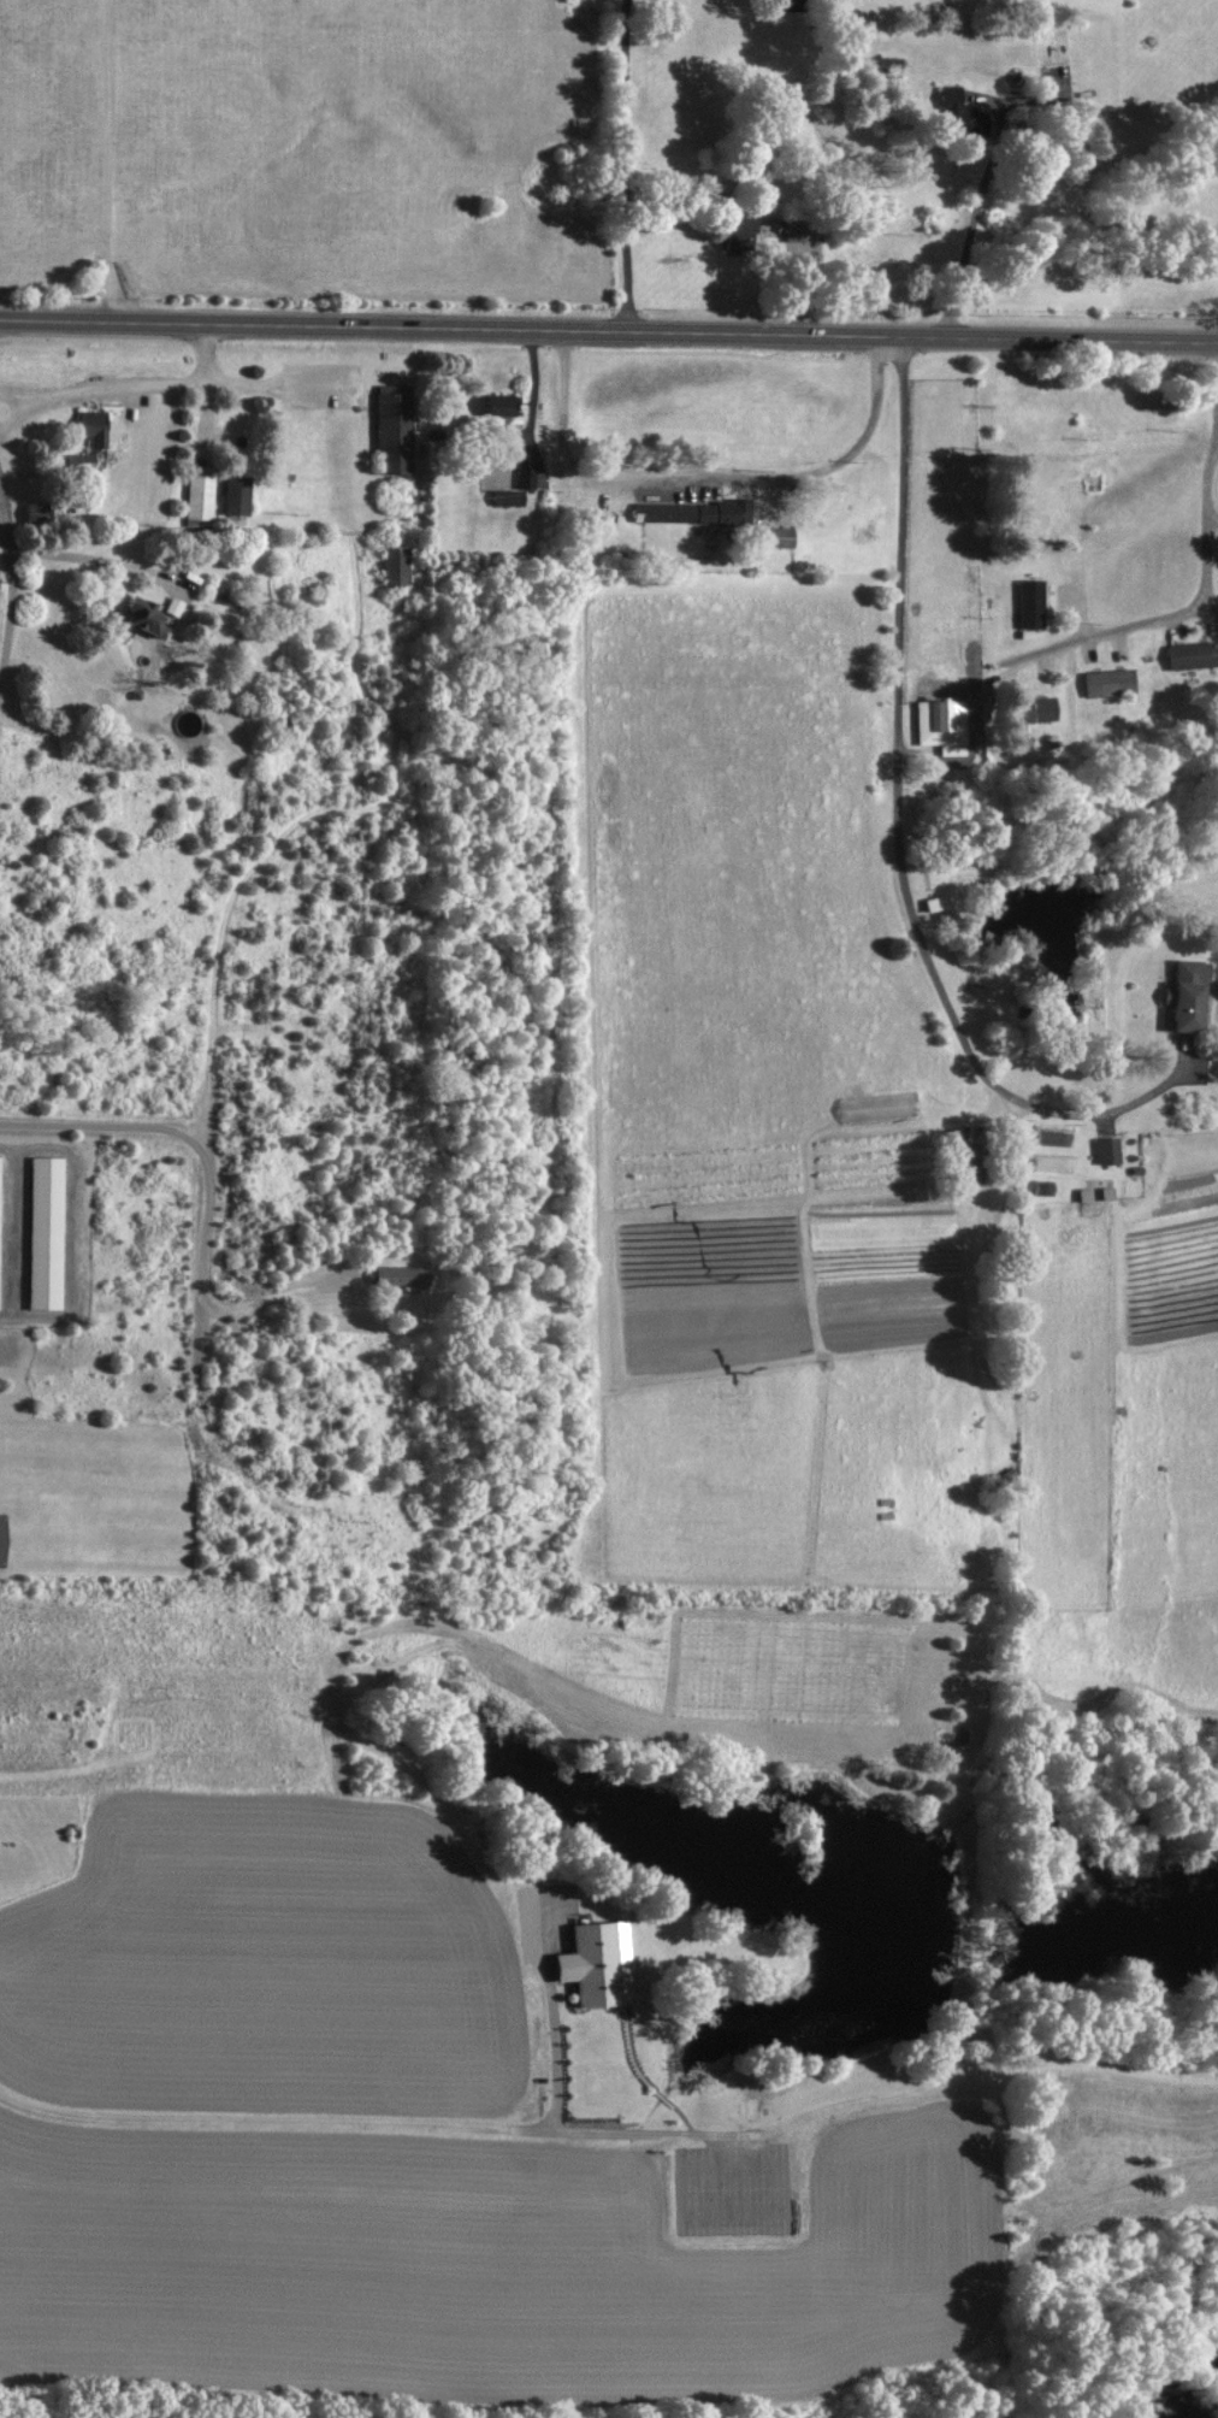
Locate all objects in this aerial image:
building: (962, 110)
road: (627, 167)
road: (972, 216)
building: (744, 234)
building: (802, 236)
road: (608, 337)
road: (206, 354)
road: (183, 382)
road: (25, 405)
building: (504, 408)
building: (95, 429)
building: (396, 429)
building: (79, 460)
building: (531, 478)
road: (711, 483)
building: (238, 494)
building: (201, 500)
building: (694, 512)
building: (42, 513)
road: (1212, 521)
building: (781, 537)
road: (90, 559)
building: (397, 565)
road: (8, 583)
building: (1033, 603)
road: (1190, 608)
building: (149, 617)
building: (1193, 655)
building: (1111, 682)
building: (1043, 709)
building: (945, 725)
road: (899, 838)
building: (1179, 992)
building: (1104, 1150)
road: (209, 1196)
building: (0, 1203)
building: (48, 1232)
building: (396, 1274)
building: (591, 1962)
road: (556, 2057)
road: (976, 2066)
road: (369, 2121)

